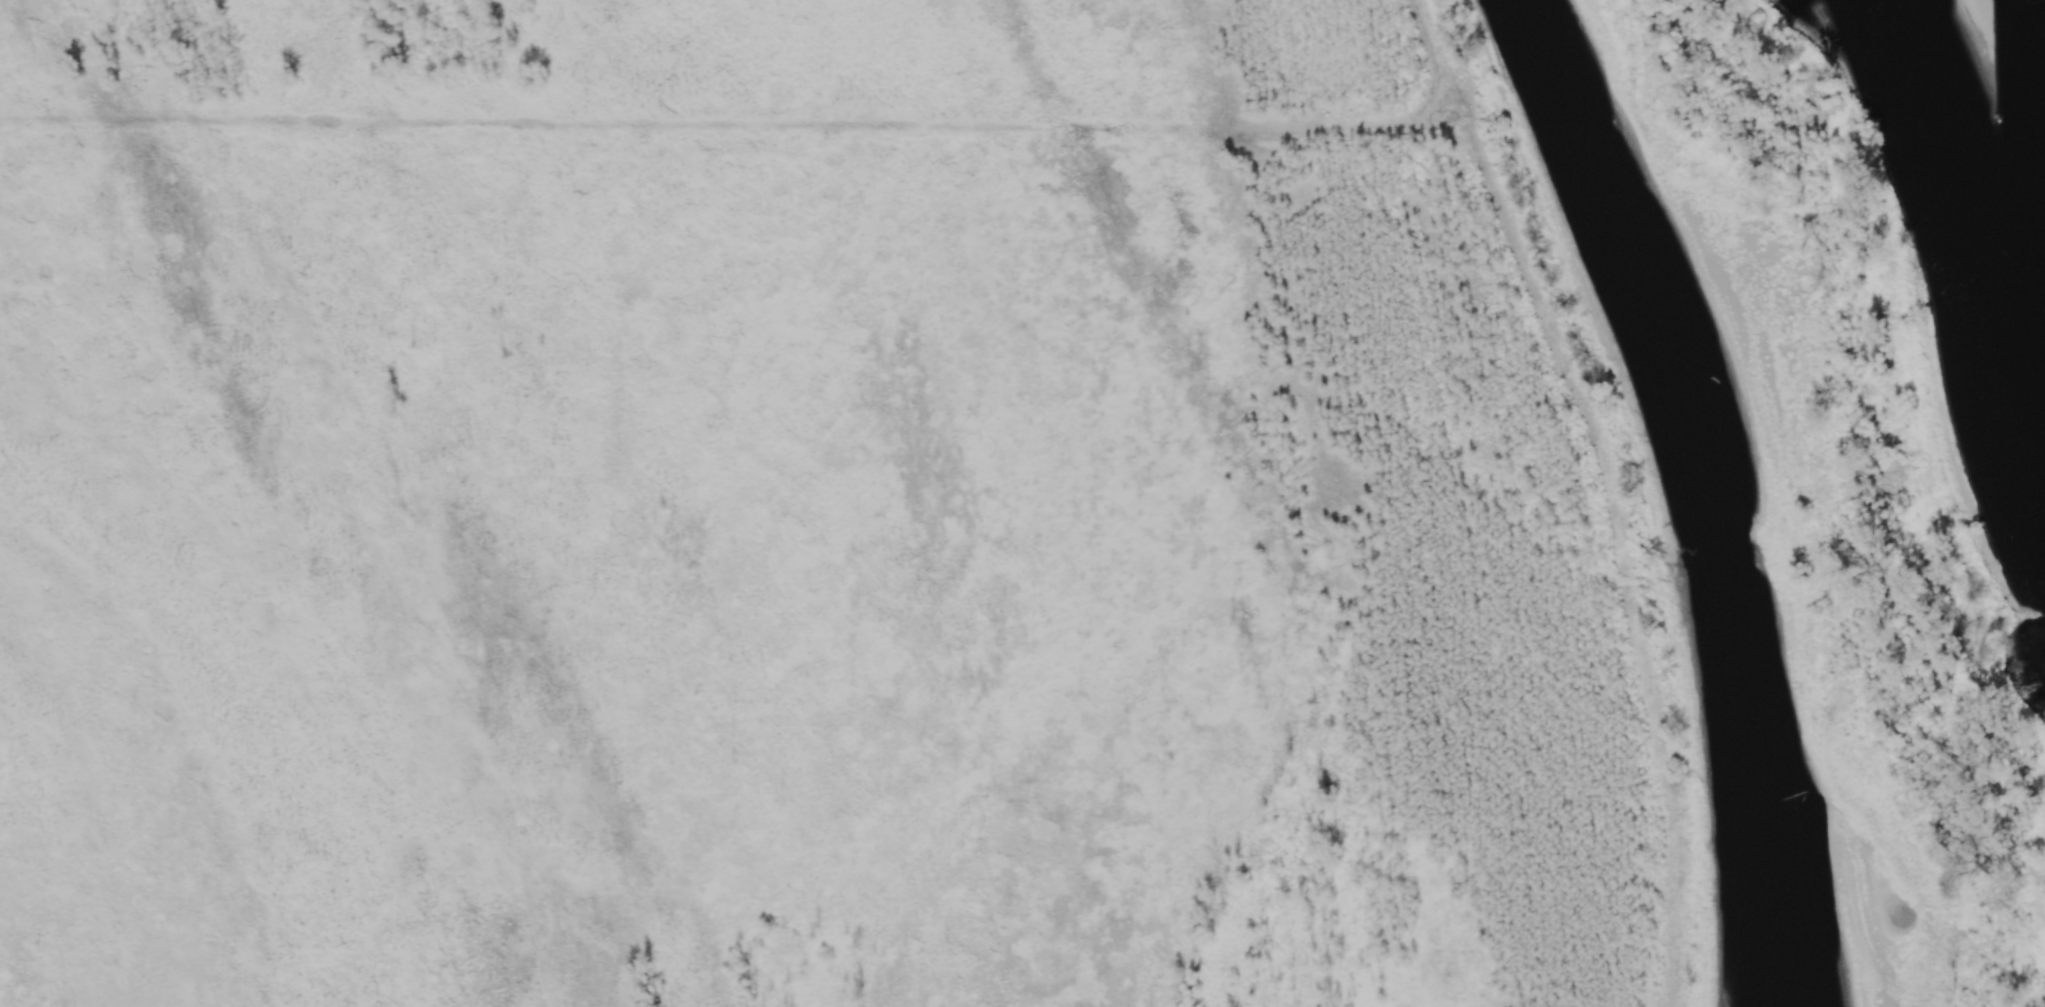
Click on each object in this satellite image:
road: (1443, 54)
road: (732, 118)
road: (1622, 544)

